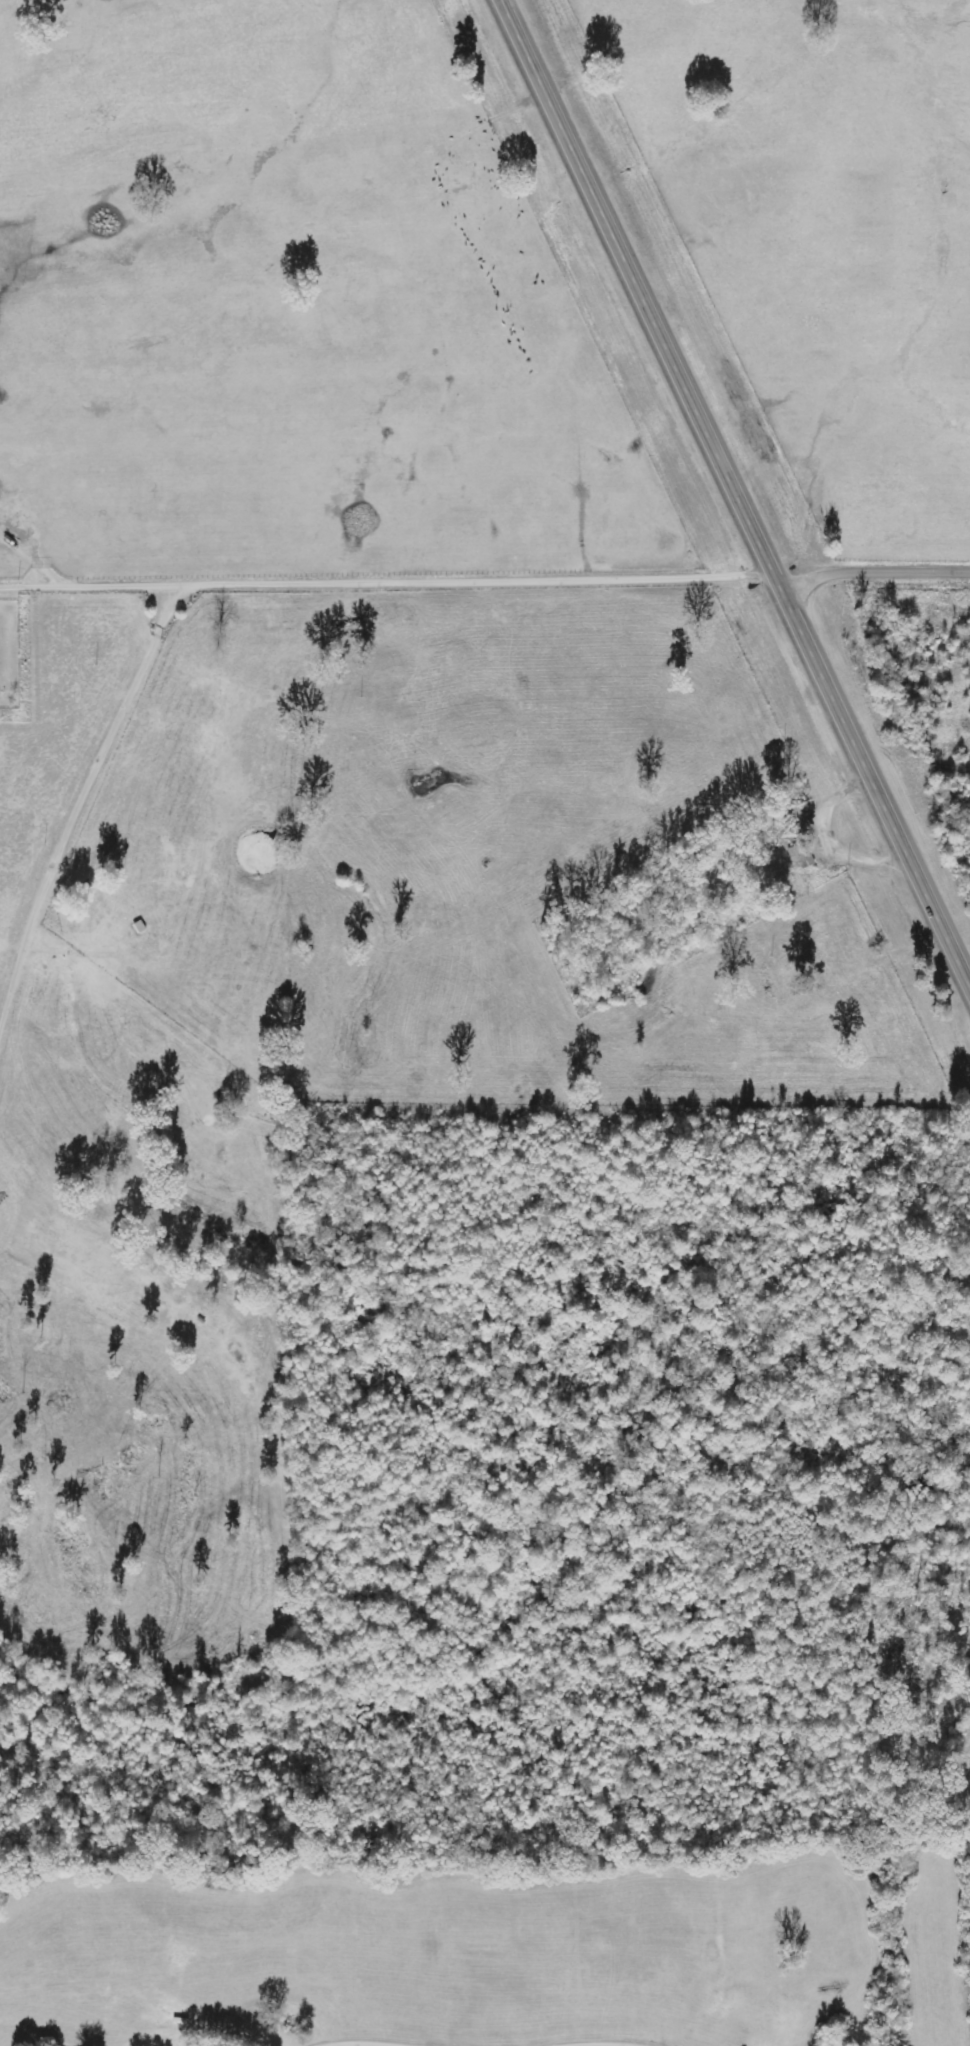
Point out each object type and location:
road: (735, 494)
road: (873, 571)
road: (390, 605)

